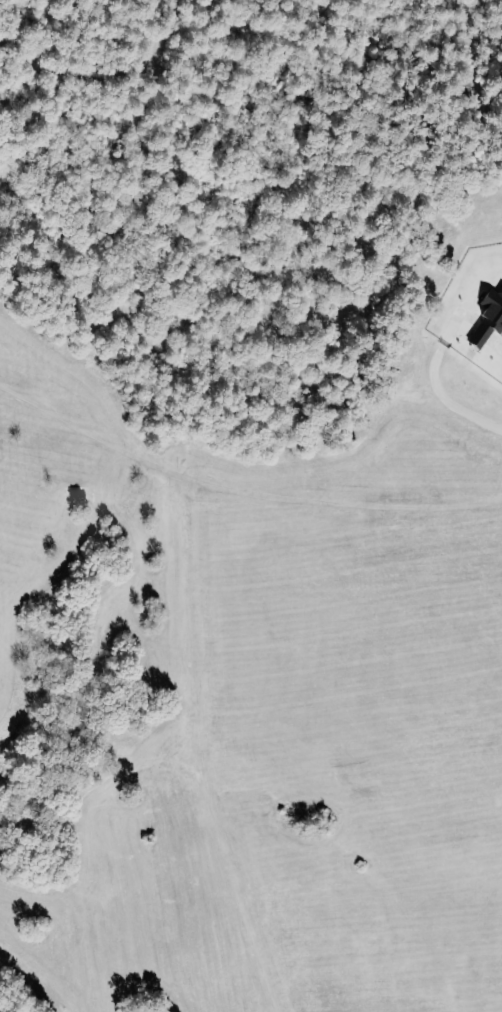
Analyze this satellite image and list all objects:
building: (488, 319)

